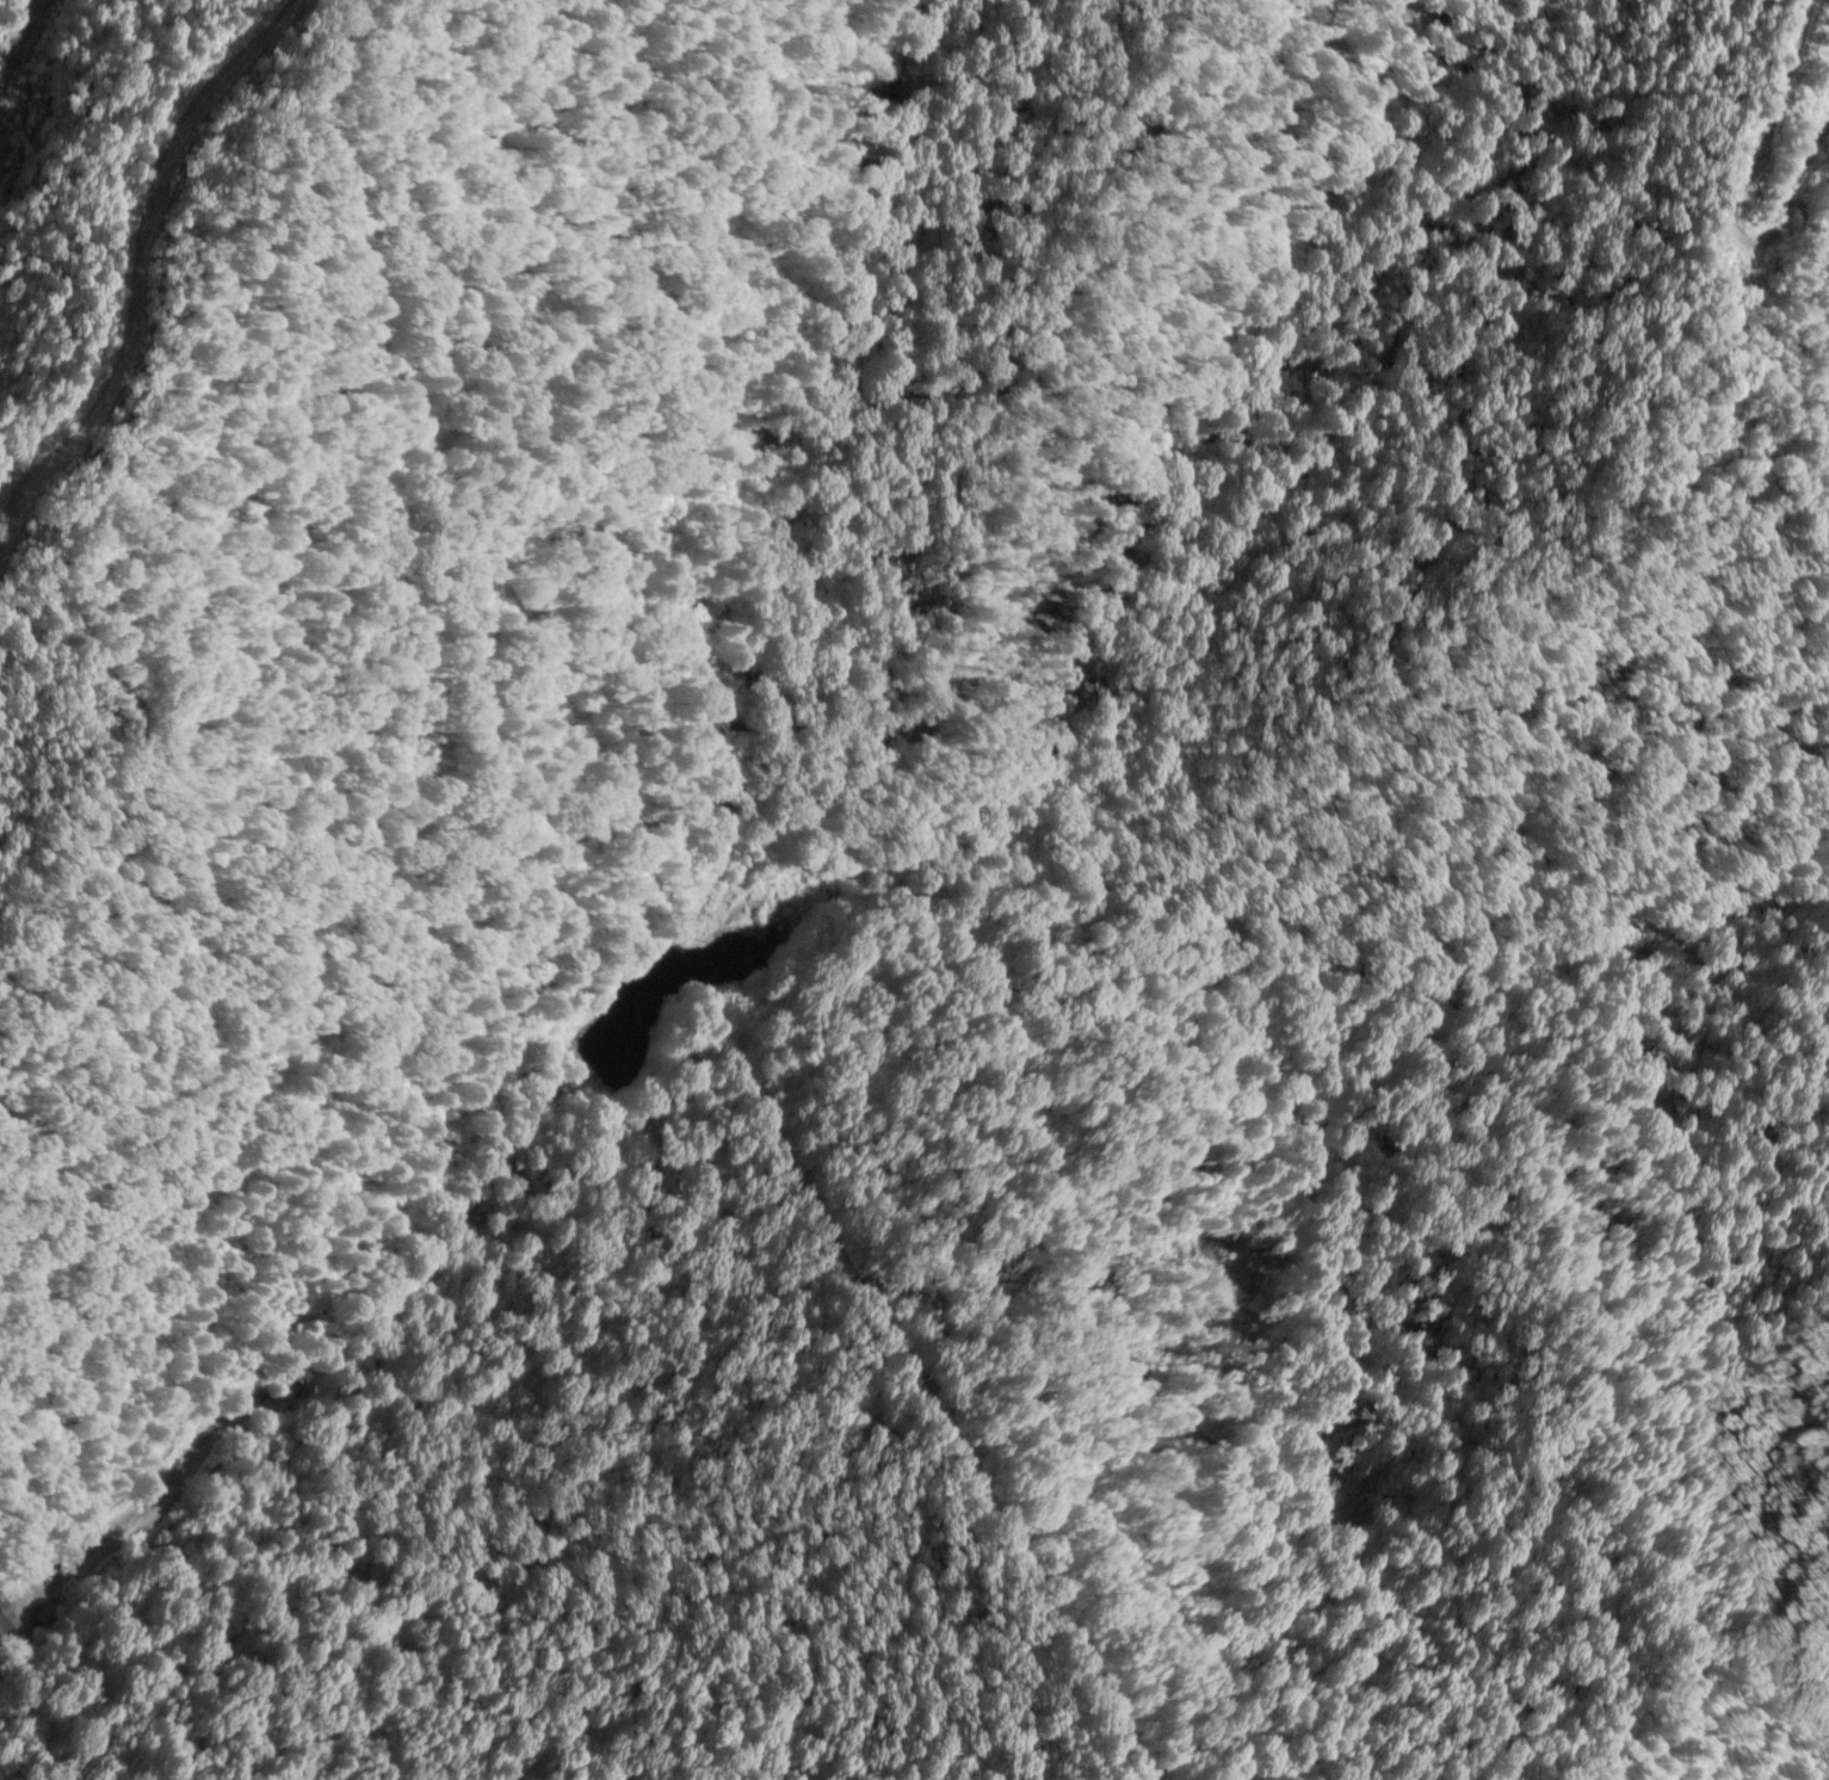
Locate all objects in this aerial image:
road: (1735, 192)
road: (137, 249)
building: (80, 1572)
building: (6, 1619)
building: (1, 1669)

